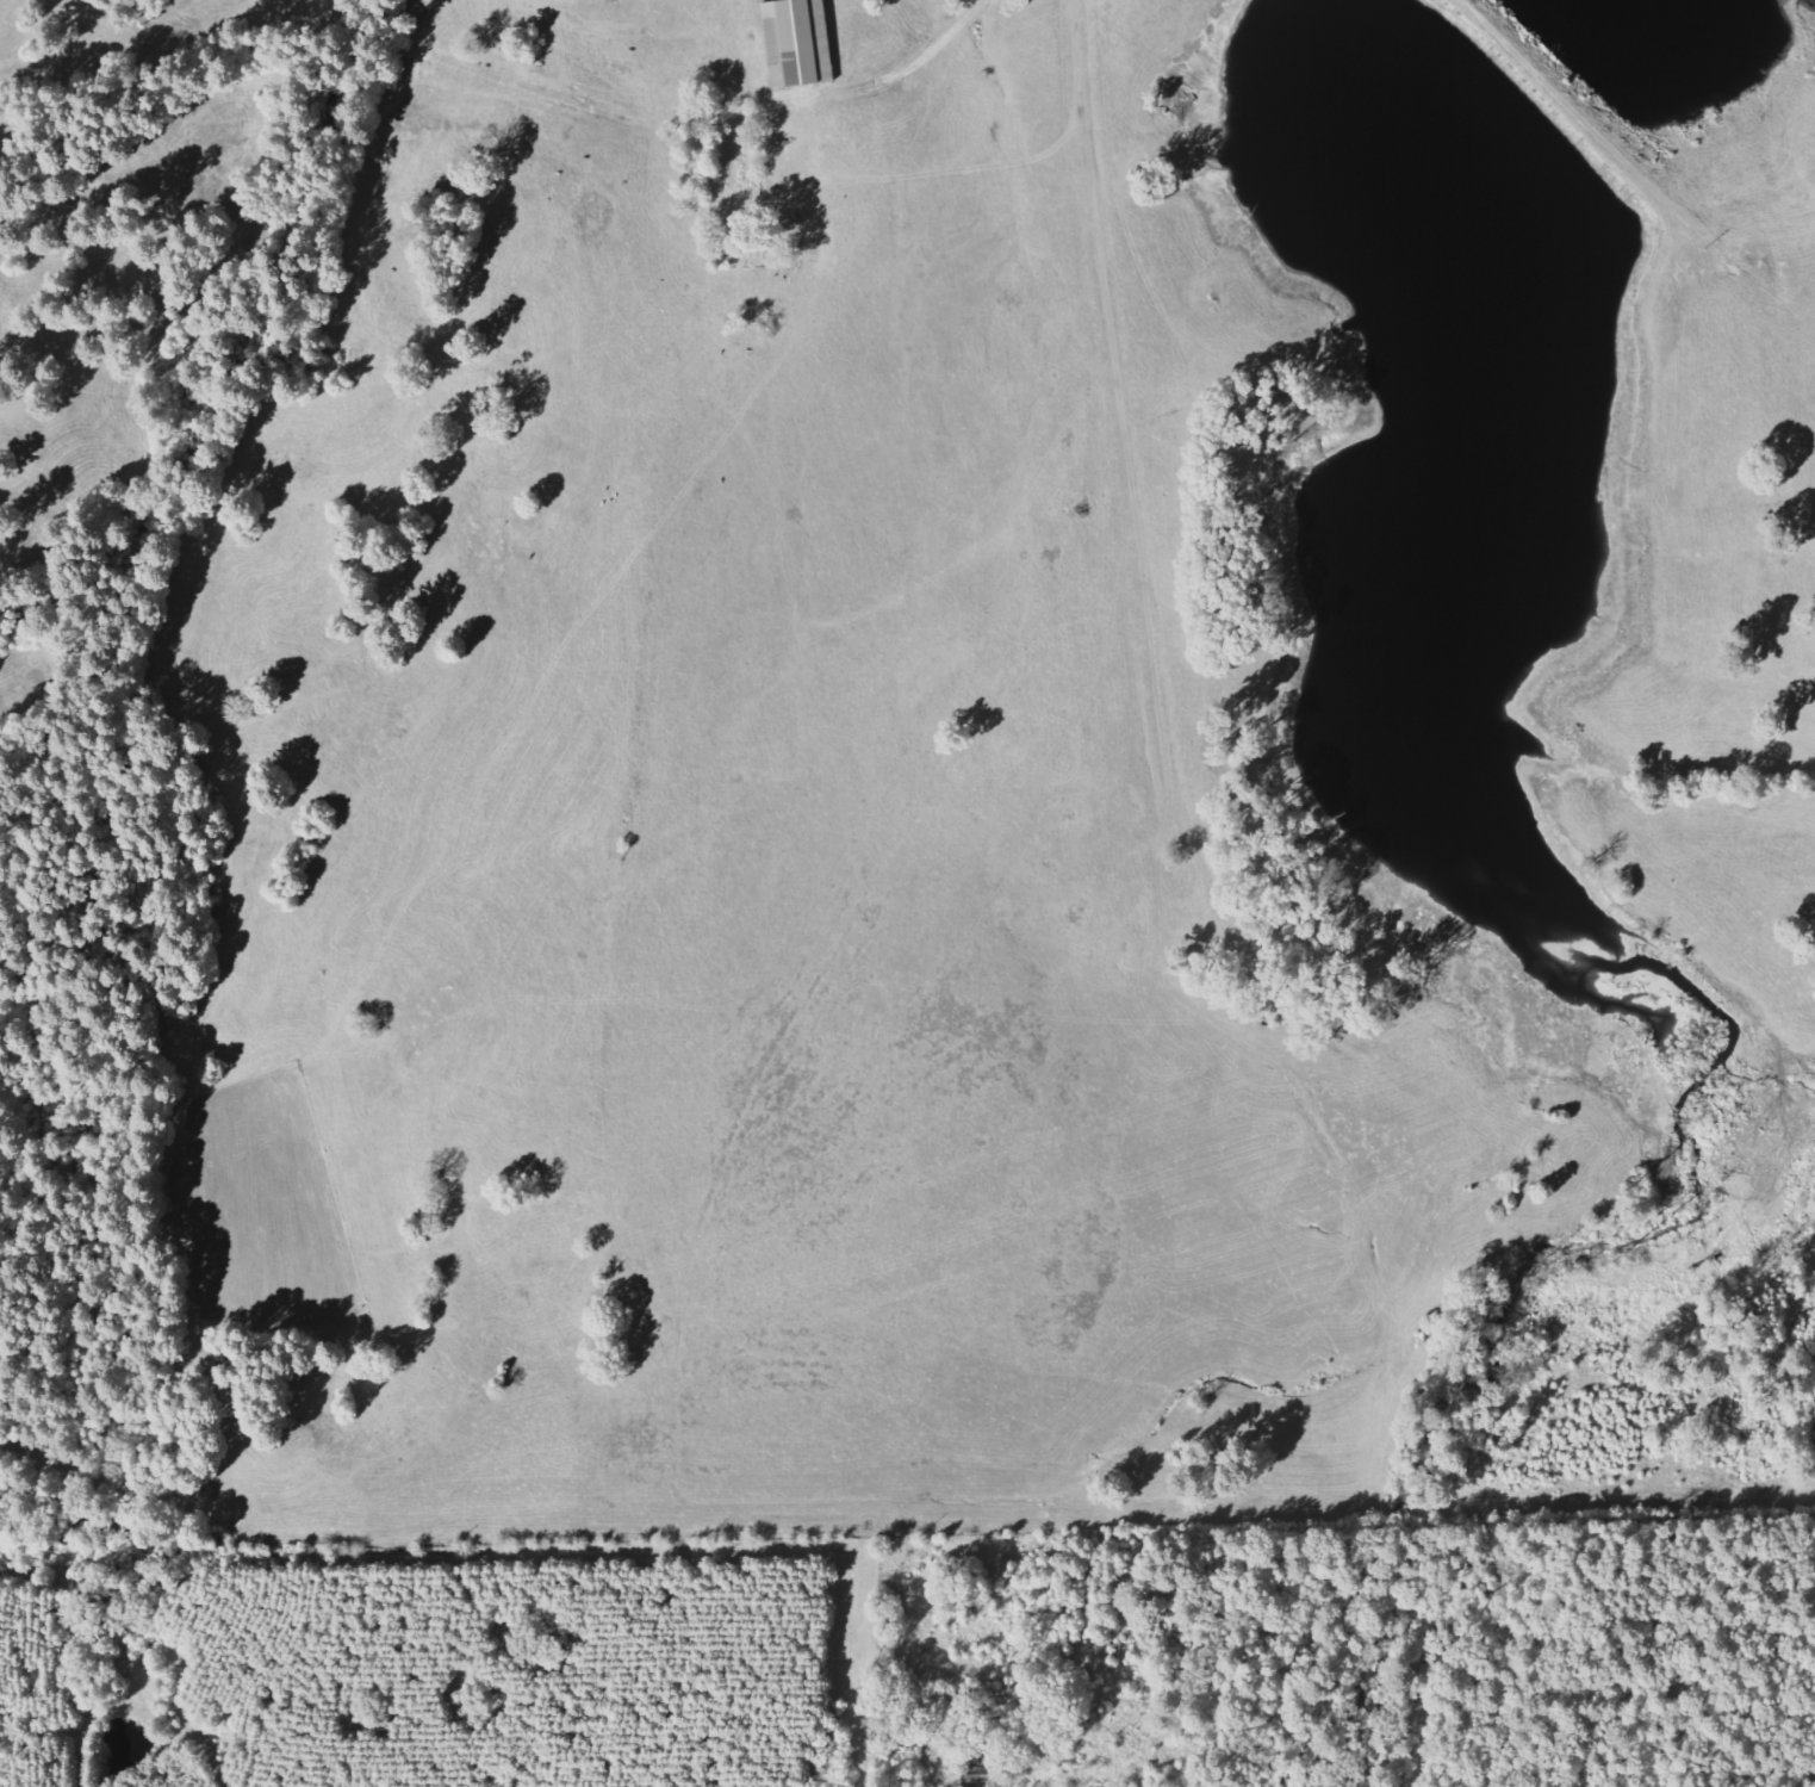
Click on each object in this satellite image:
building: (800, 43)
building: (977, 1781)

